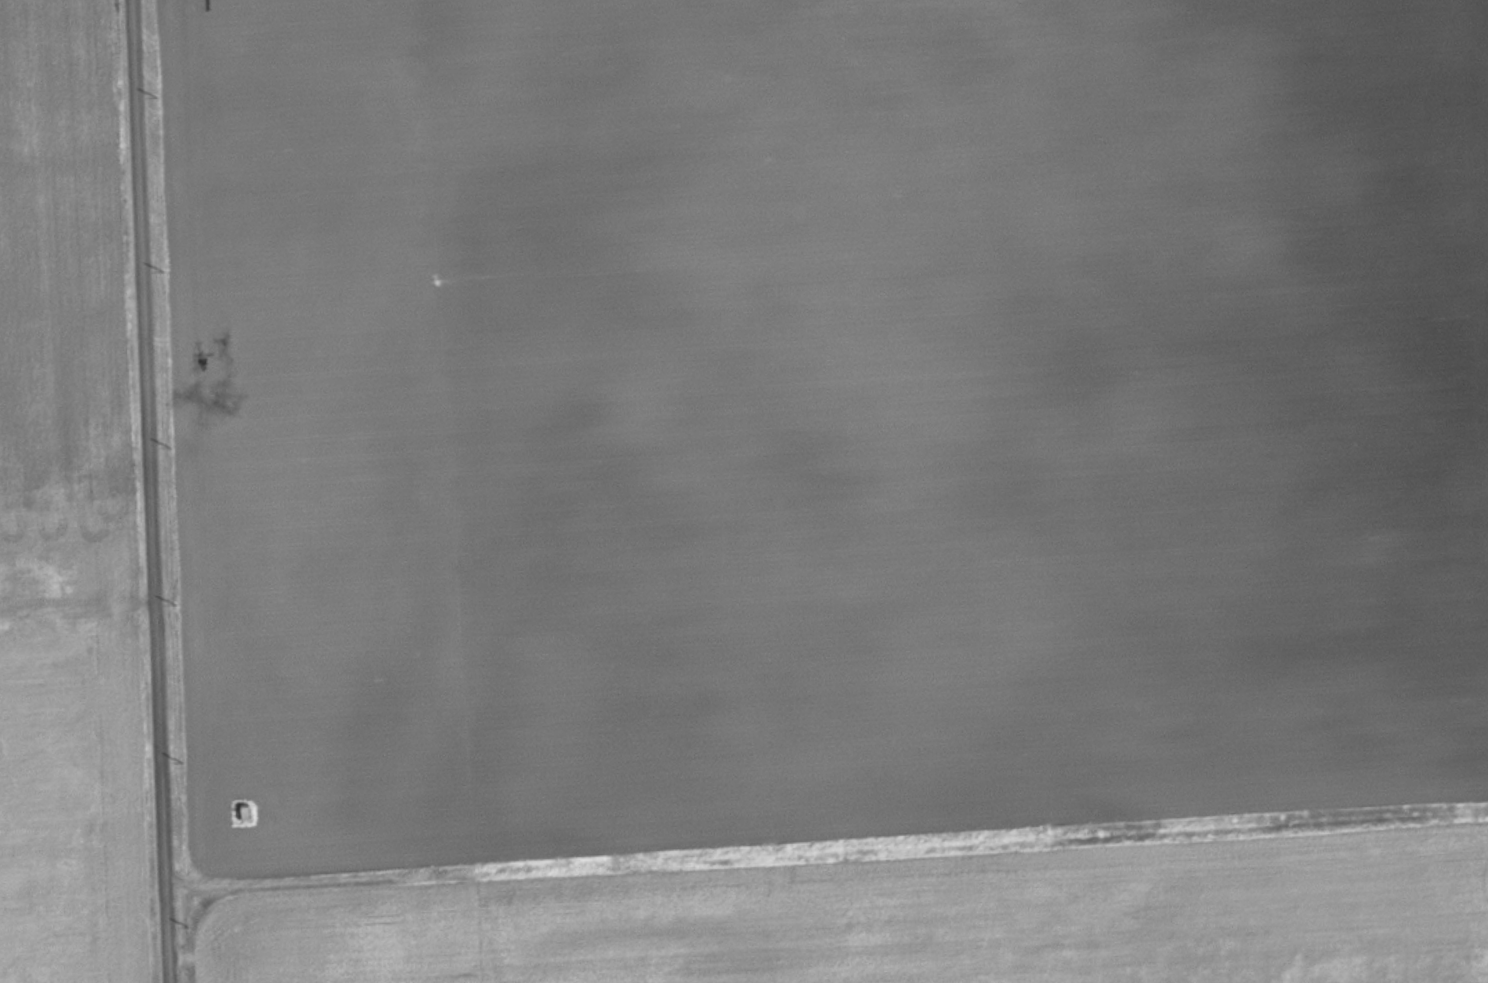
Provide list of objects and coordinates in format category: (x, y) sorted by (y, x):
road: (147, 491)
building: (88, 579)
building: (244, 811)

